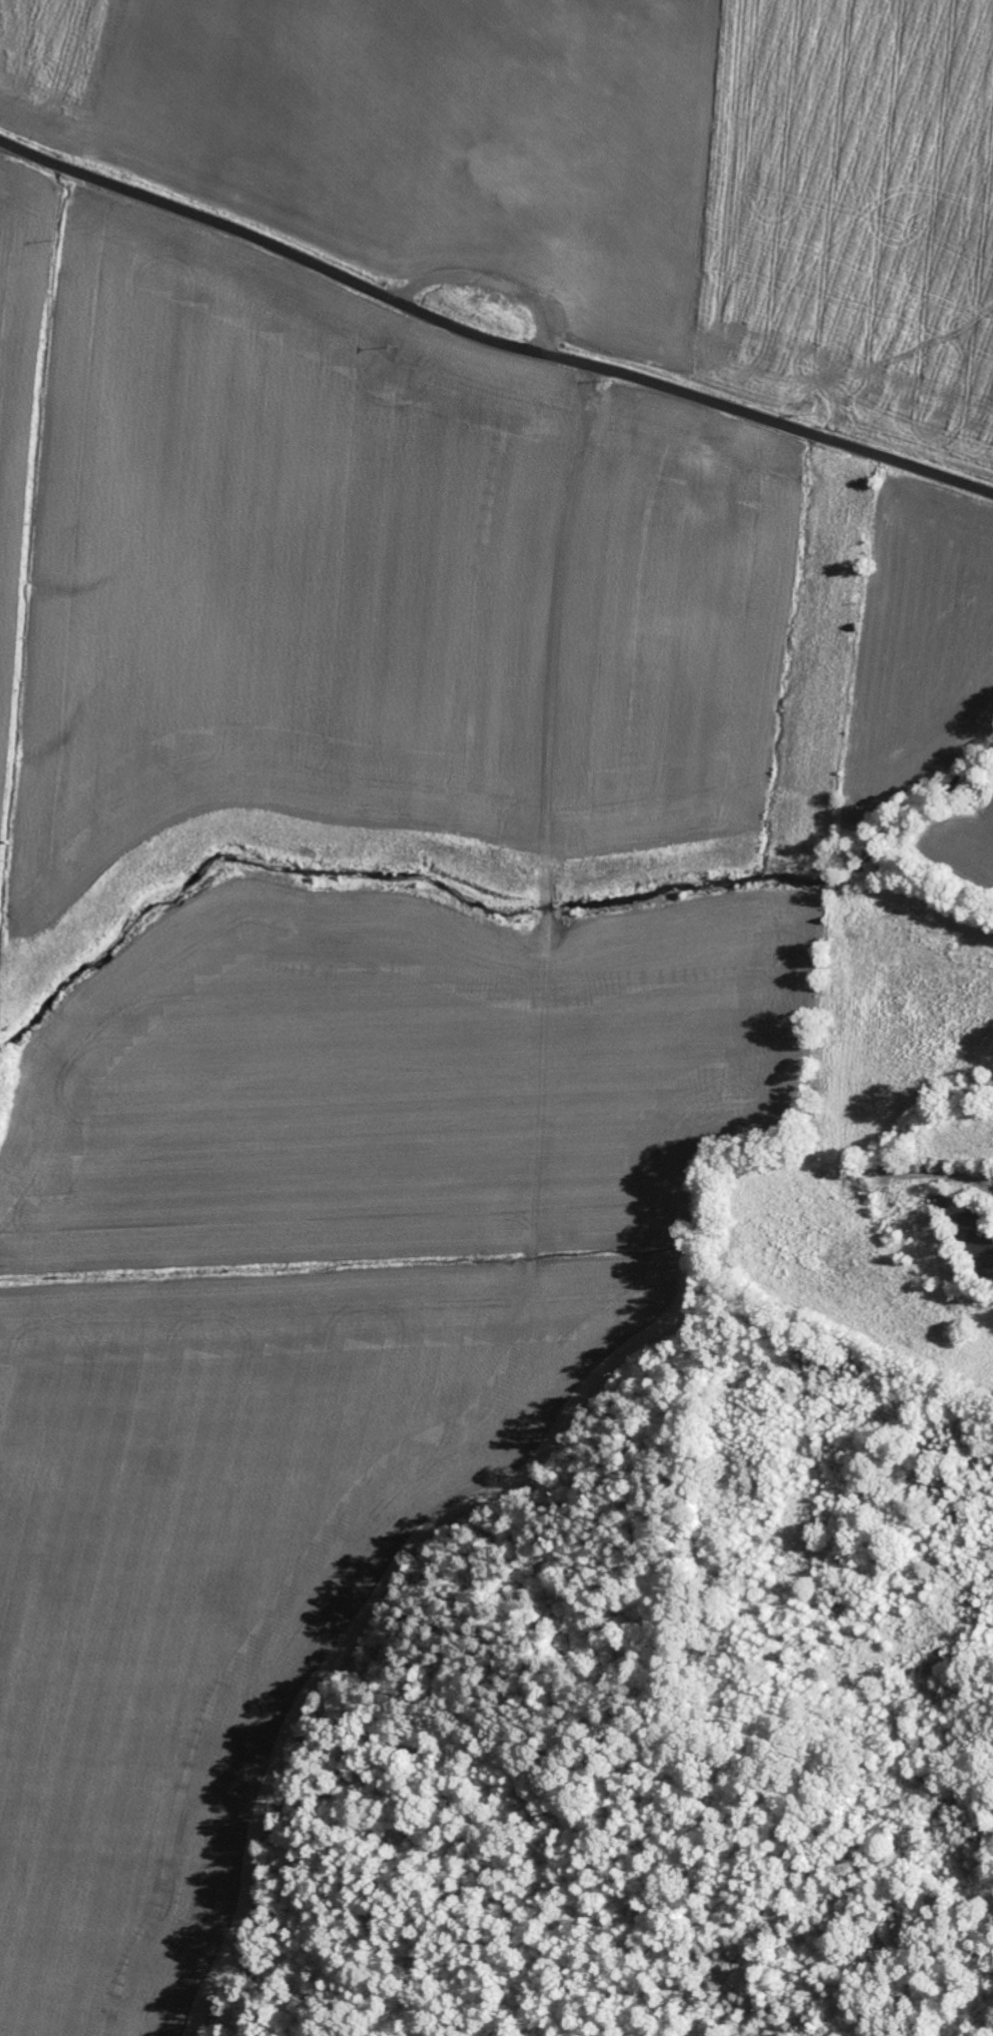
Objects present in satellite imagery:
road: (488, 338)

